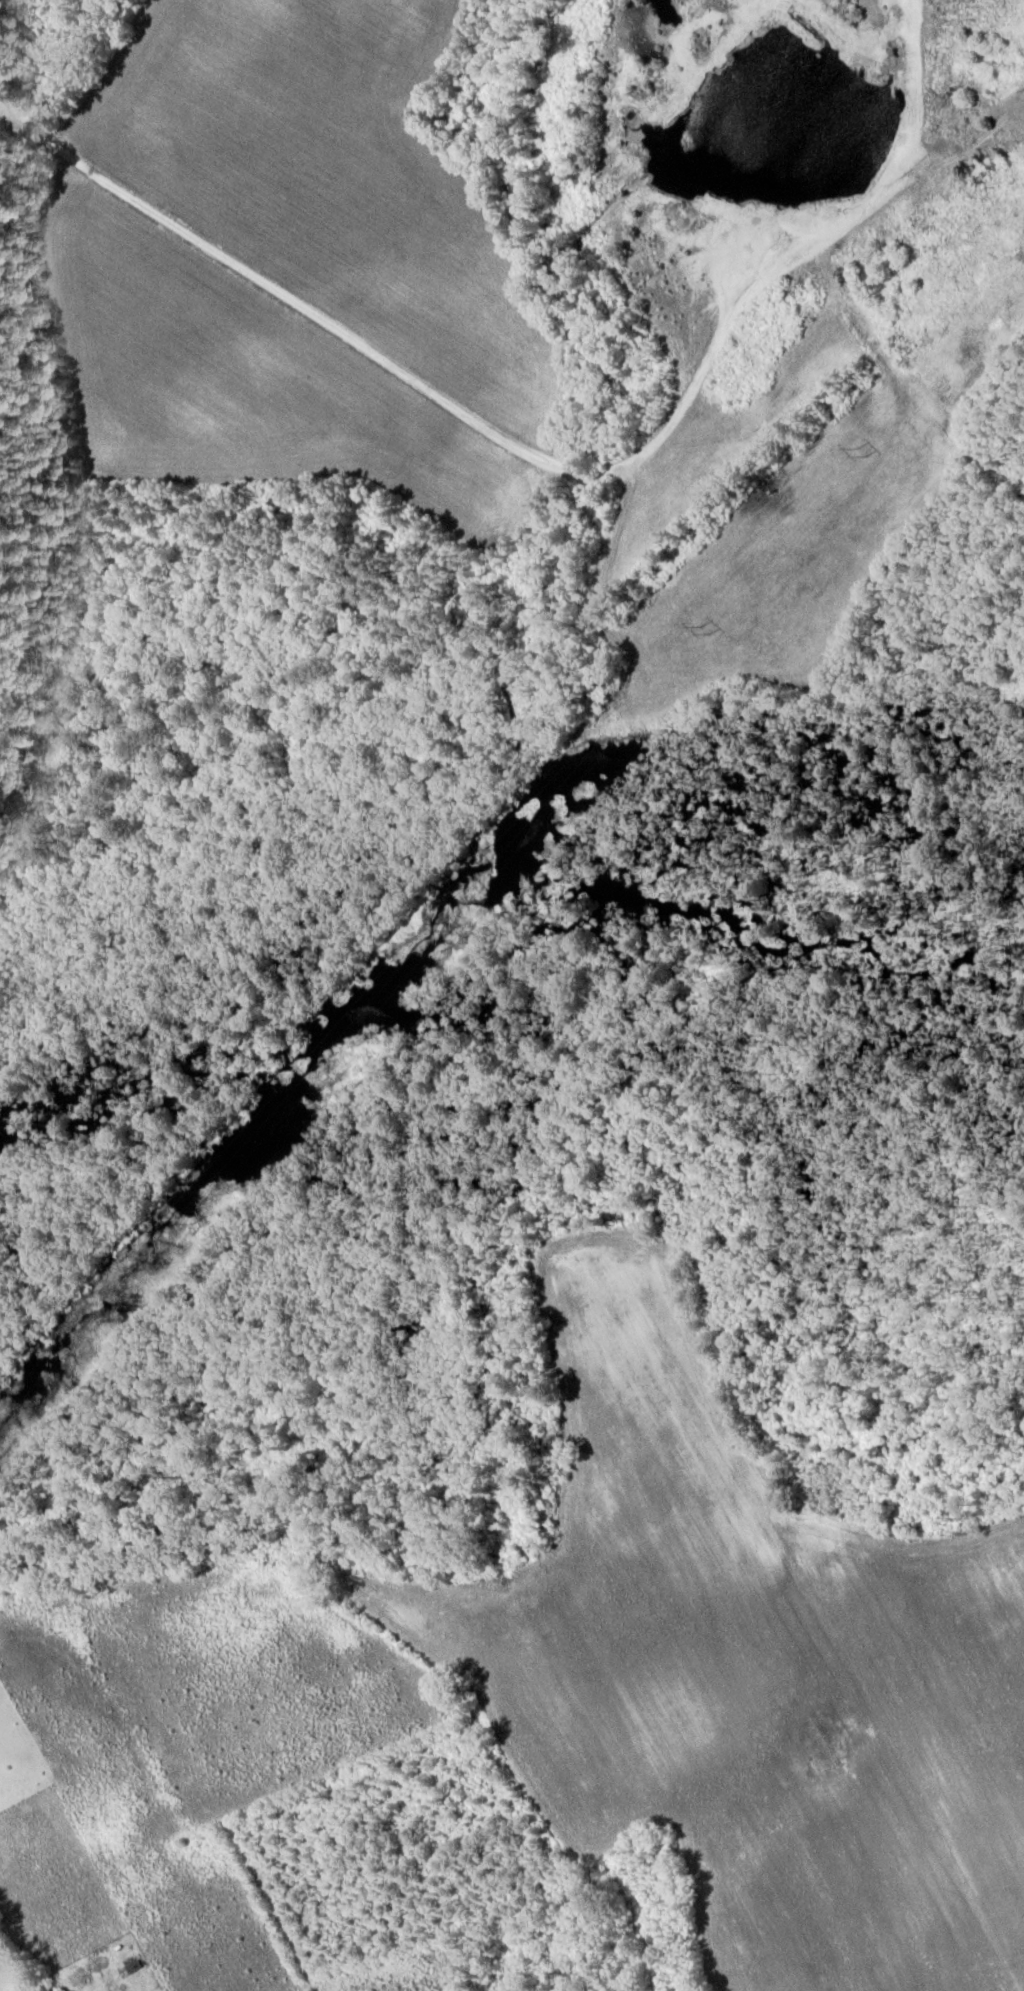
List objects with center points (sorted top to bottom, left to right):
power tower: (857, 453)
road: (550, 463)
power tower: (701, 630)
power tower: (444, 924)
power tower: (188, 1218)
building: (130, 1969)

